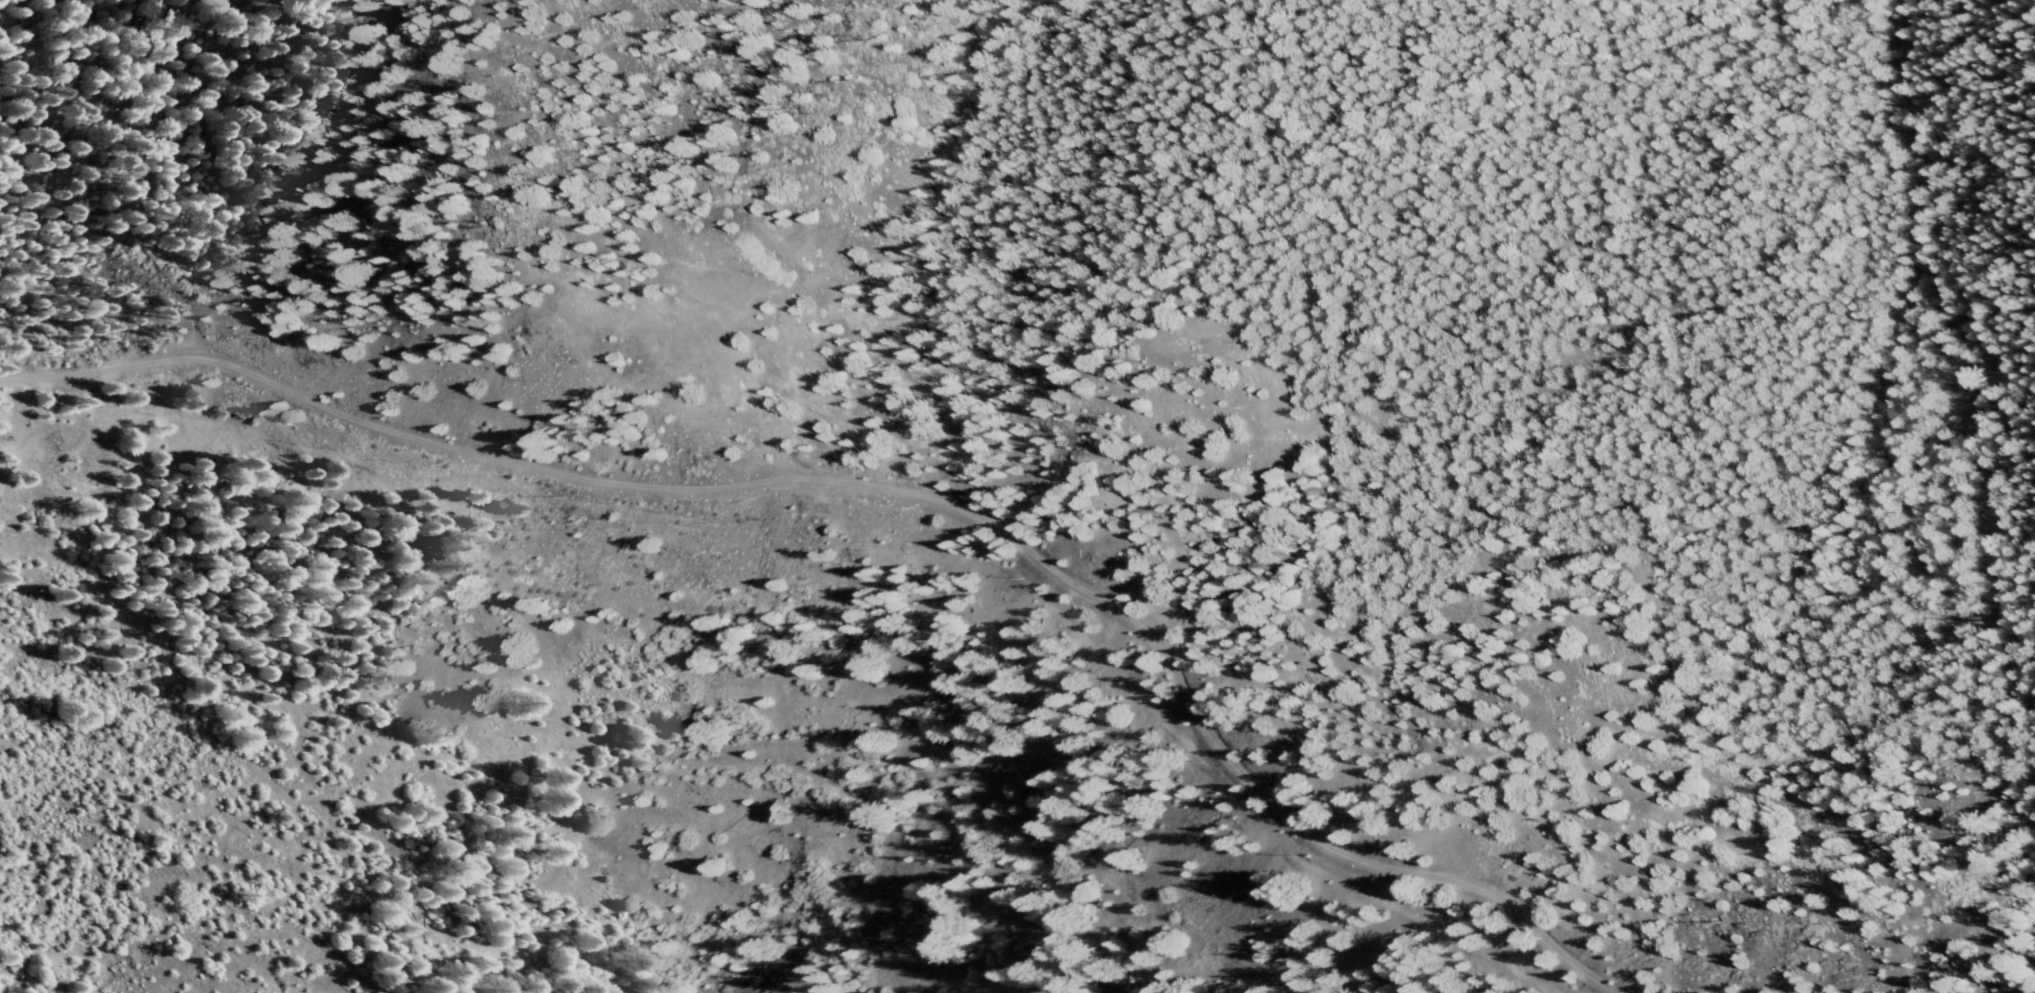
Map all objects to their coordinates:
road: (879, 489)

